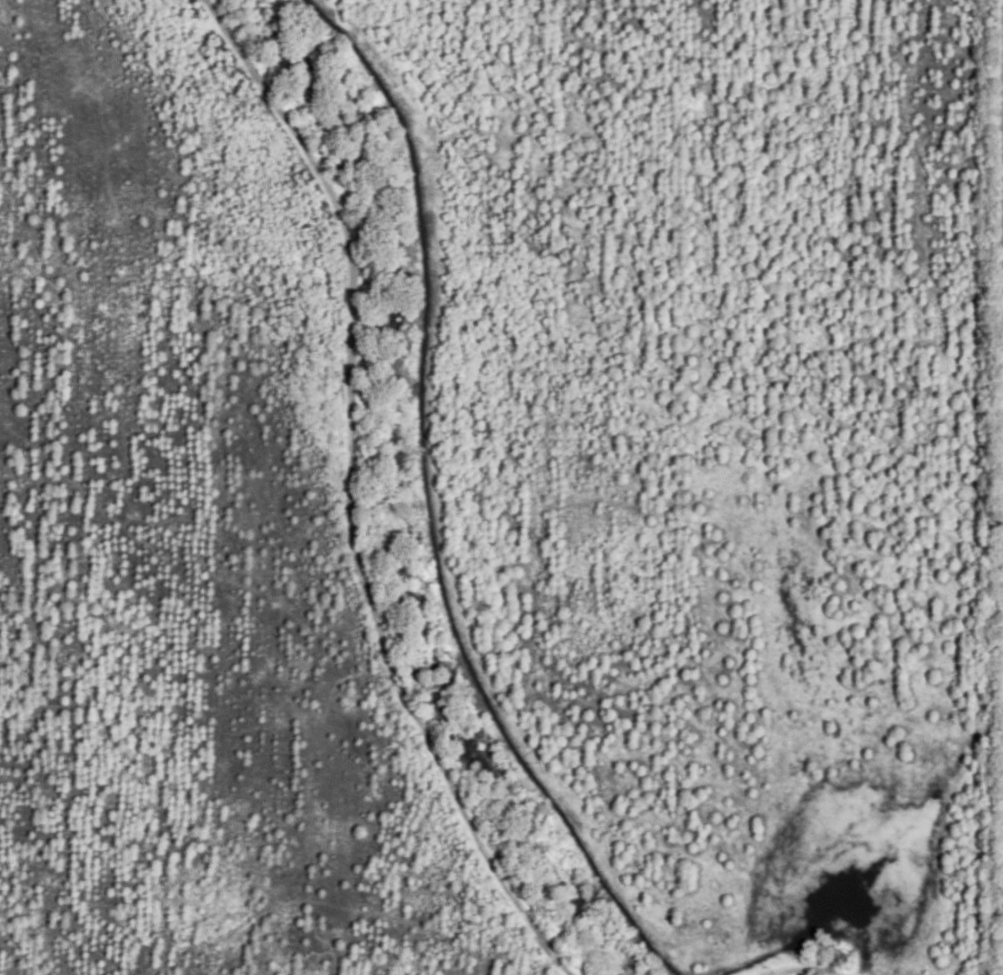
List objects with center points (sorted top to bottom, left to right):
road: (1000, 204)

